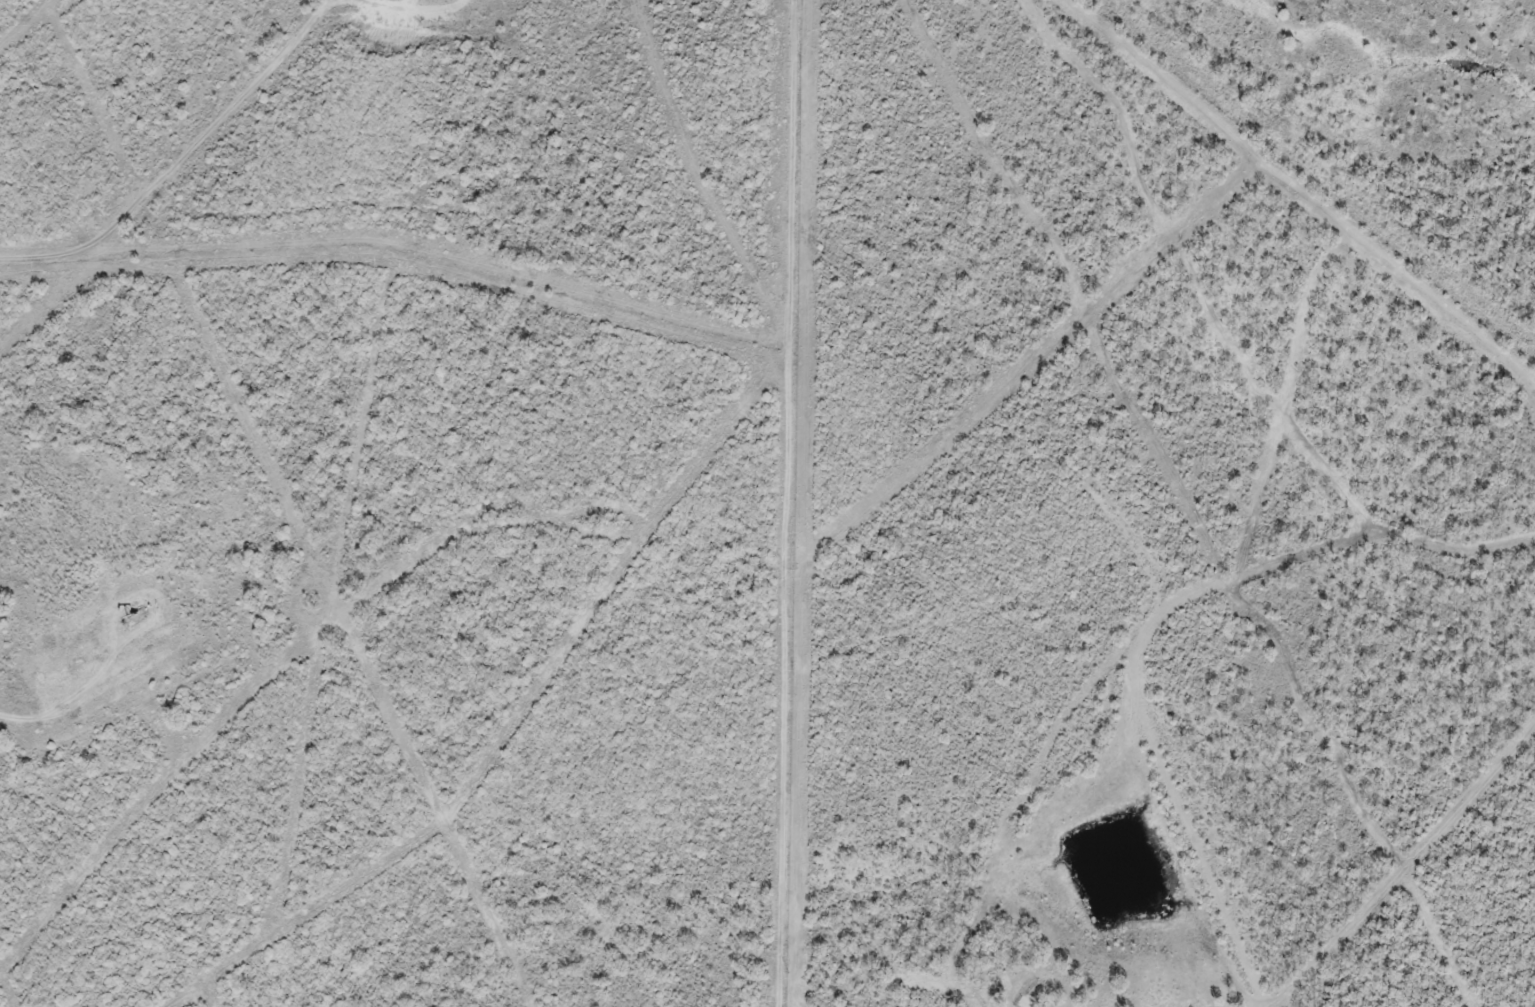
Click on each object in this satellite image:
petroleum well: (130, 615)

